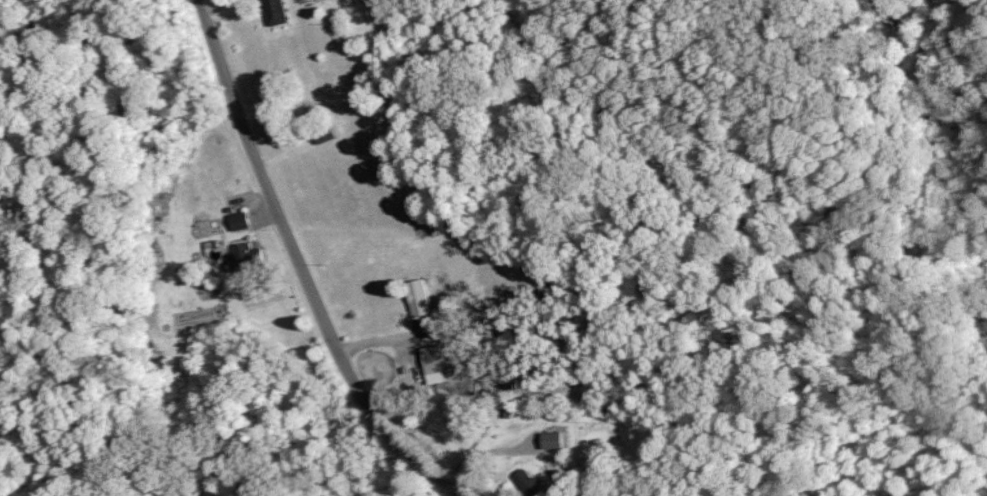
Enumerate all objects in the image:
building: (273, 11)
building: (322, 133)
building: (237, 220)
building: (241, 253)
road: (303, 270)
building: (415, 296)
building: (437, 360)
building: (549, 438)
road: (514, 470)
building: (527, 482)

